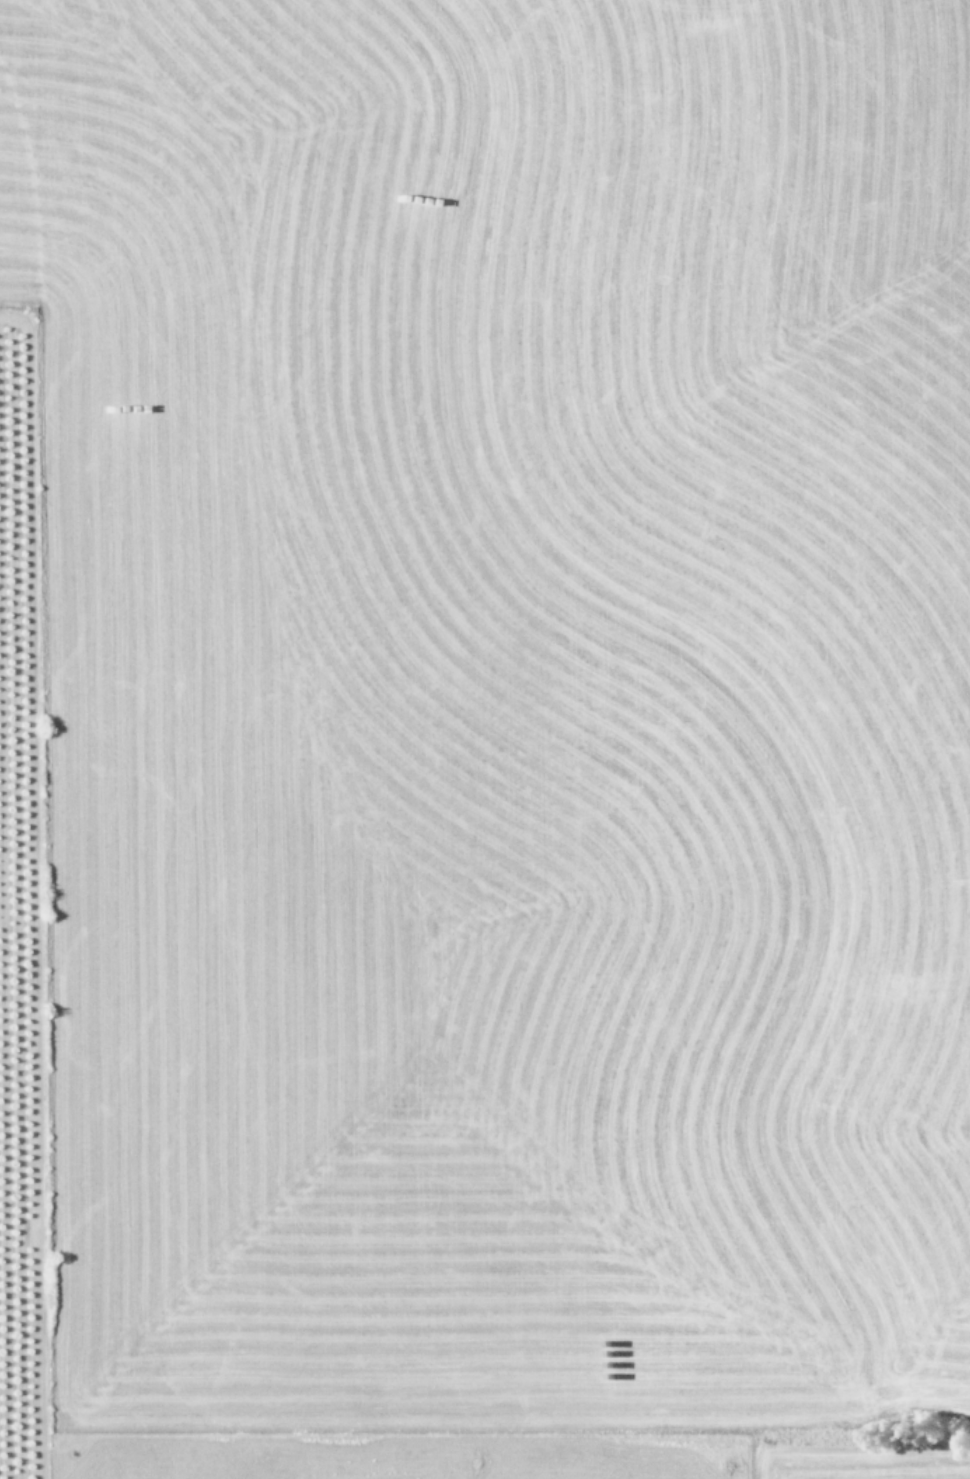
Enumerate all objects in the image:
crop: (485, 739)

